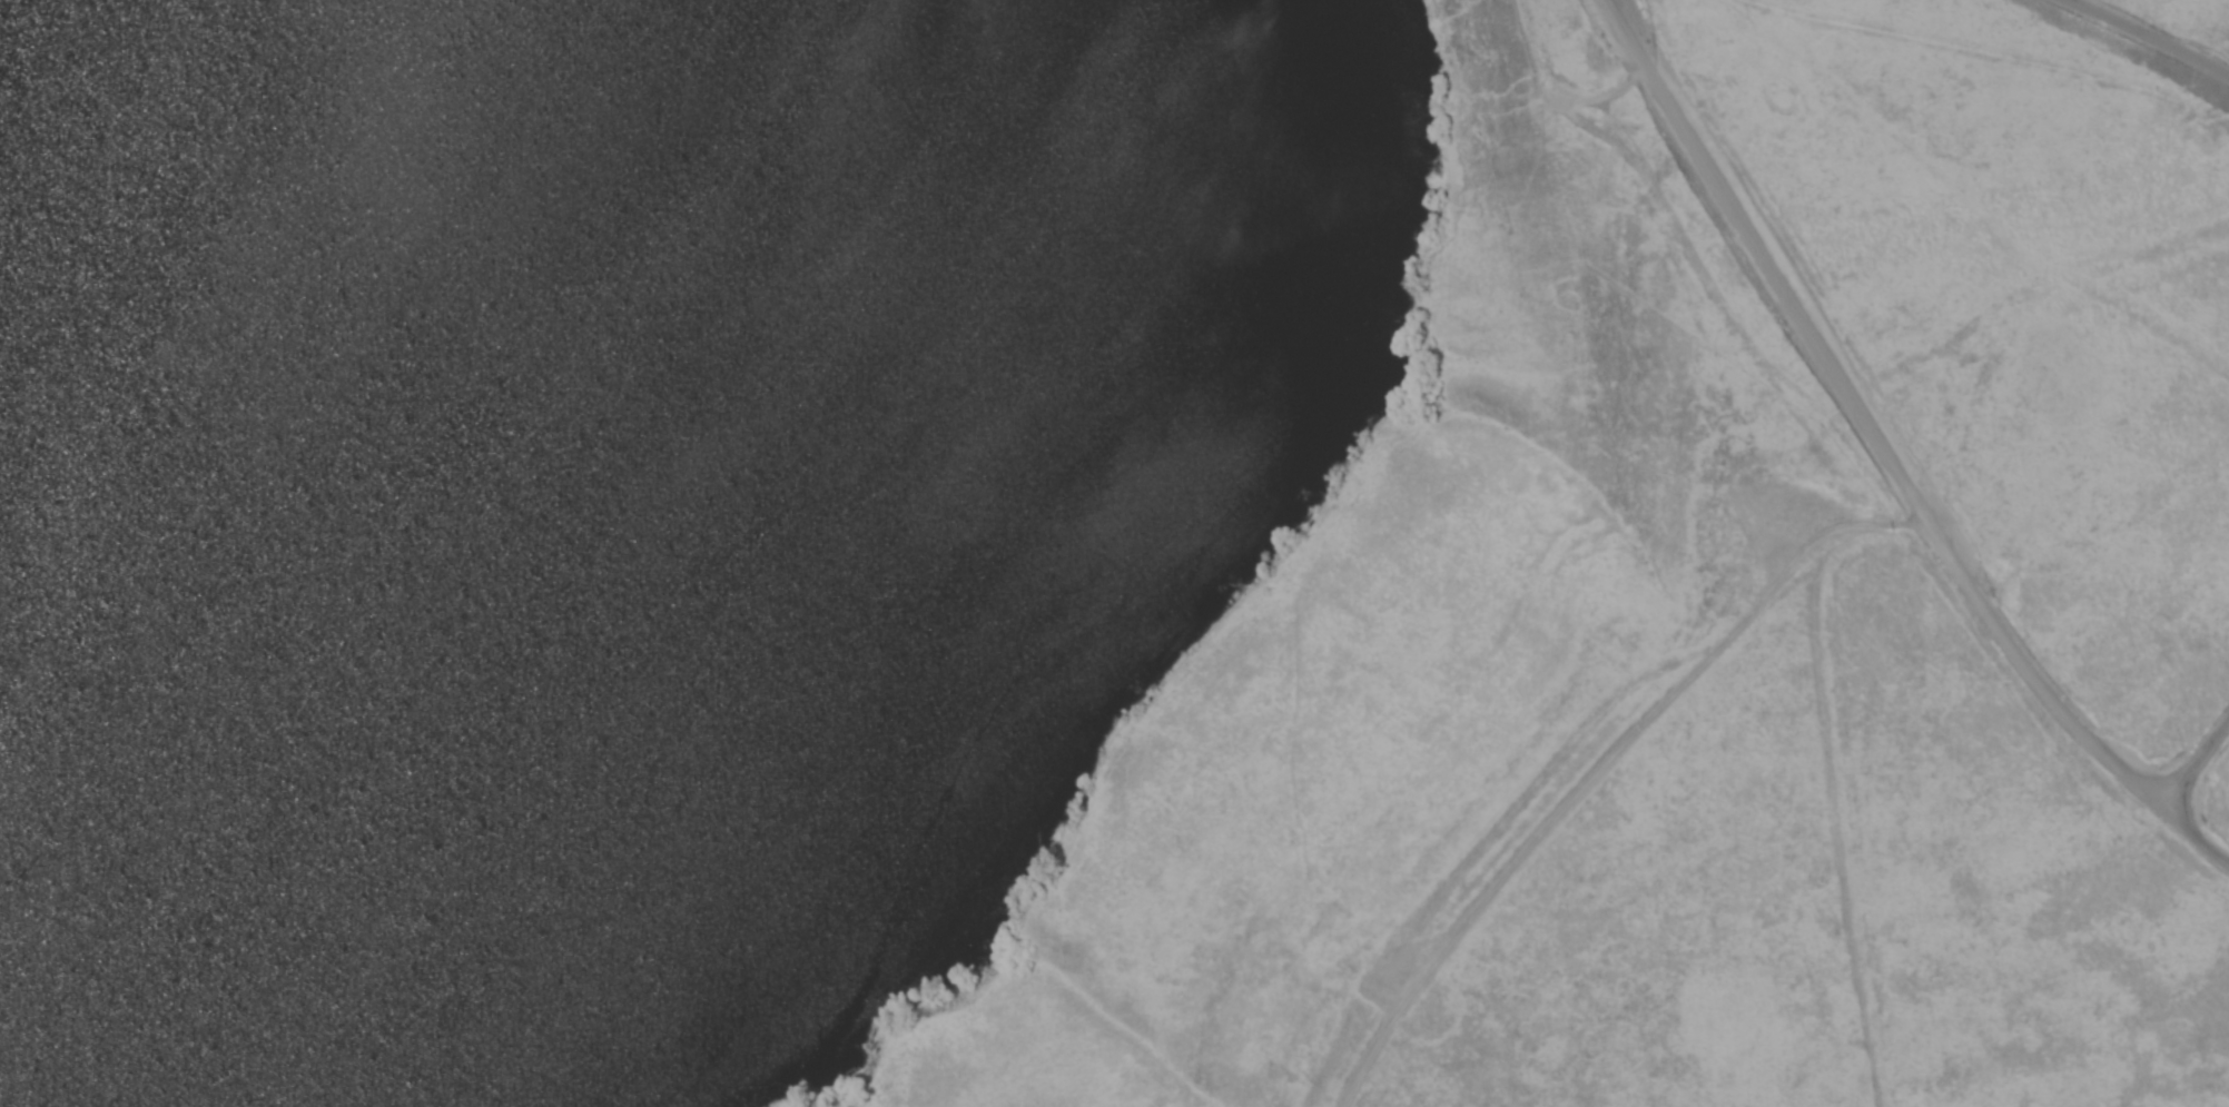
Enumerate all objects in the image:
road: (2147, 42)
road: (53, 237)
road: (1877, 437)
park: (1114, 553)
road: (1604, 757)
road: (2191, 760)
road: (2210, 847)

